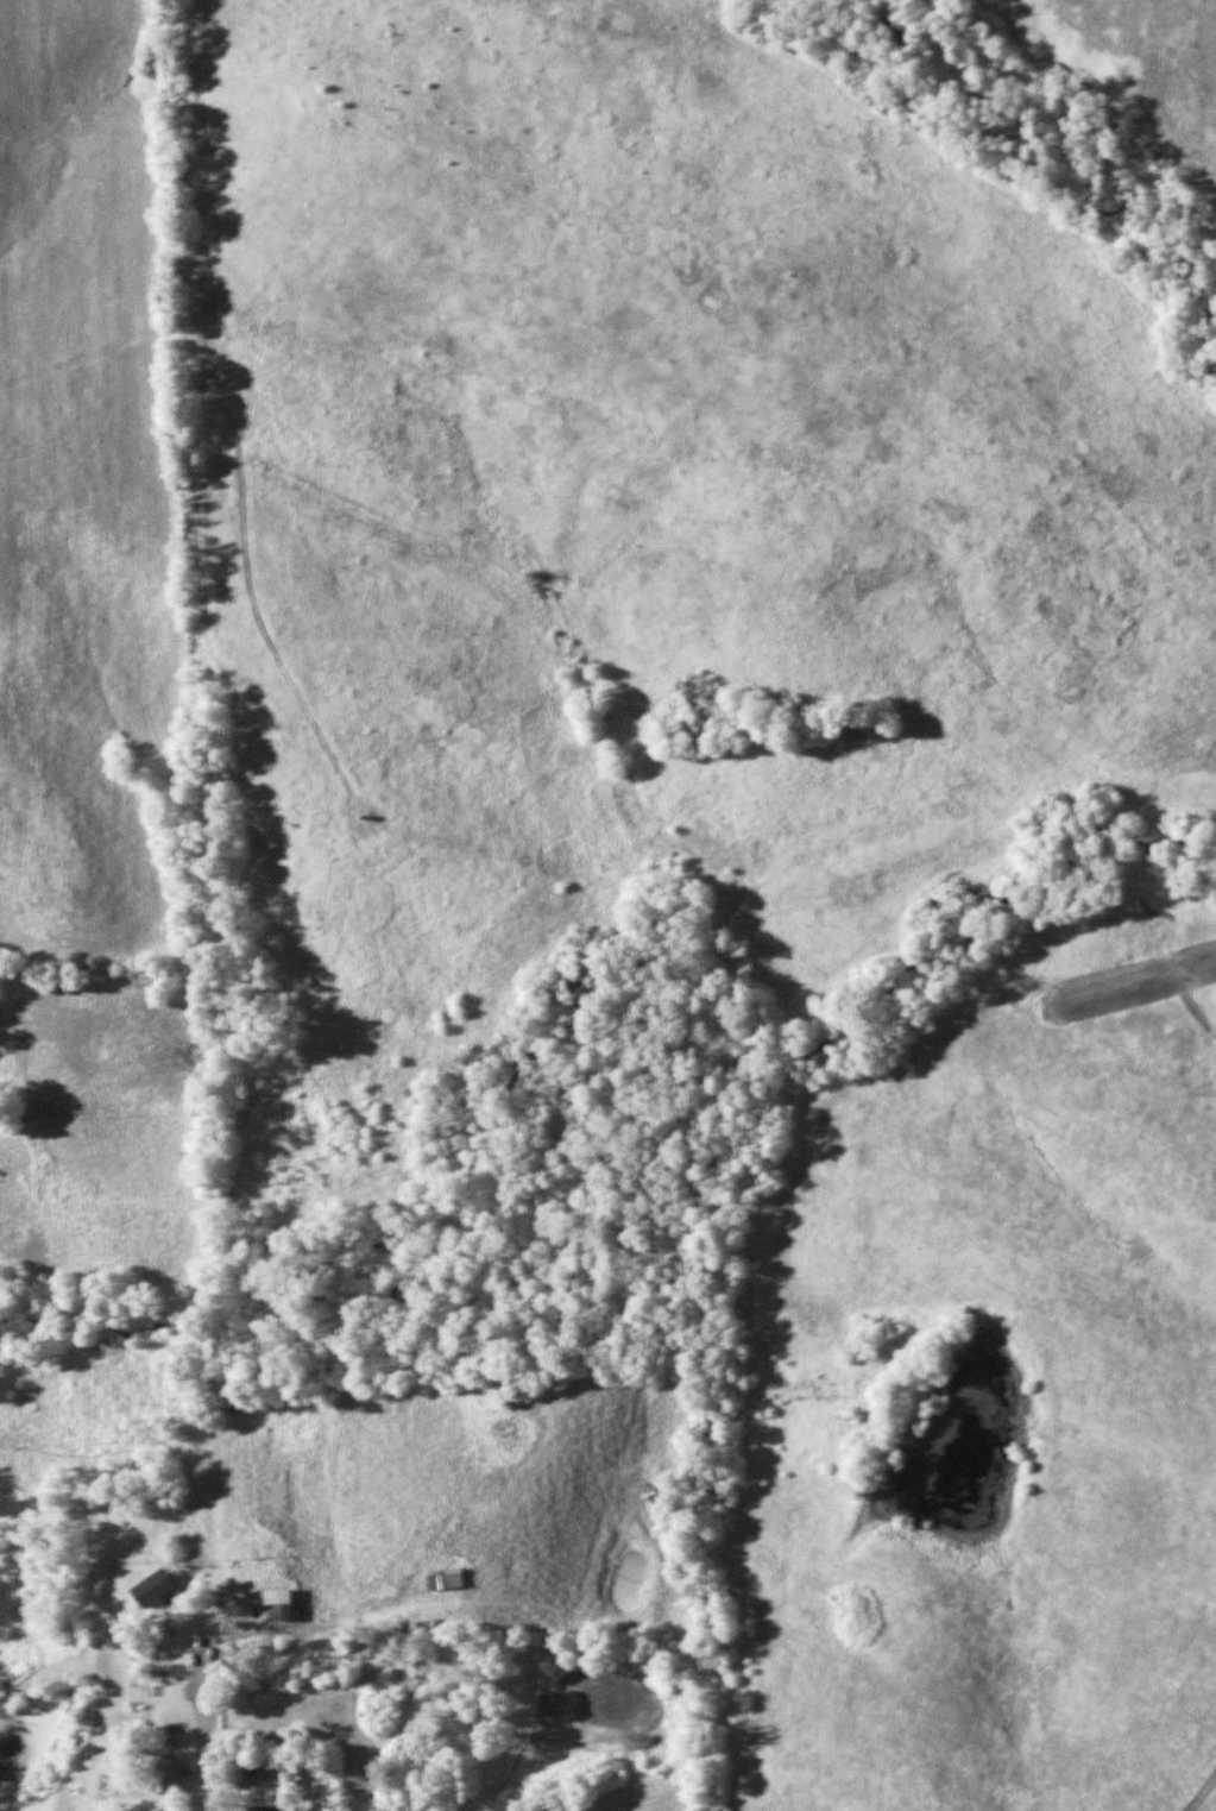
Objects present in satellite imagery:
building: (441, 1578)
building: (285, 1593)
road: (207, 1692)

